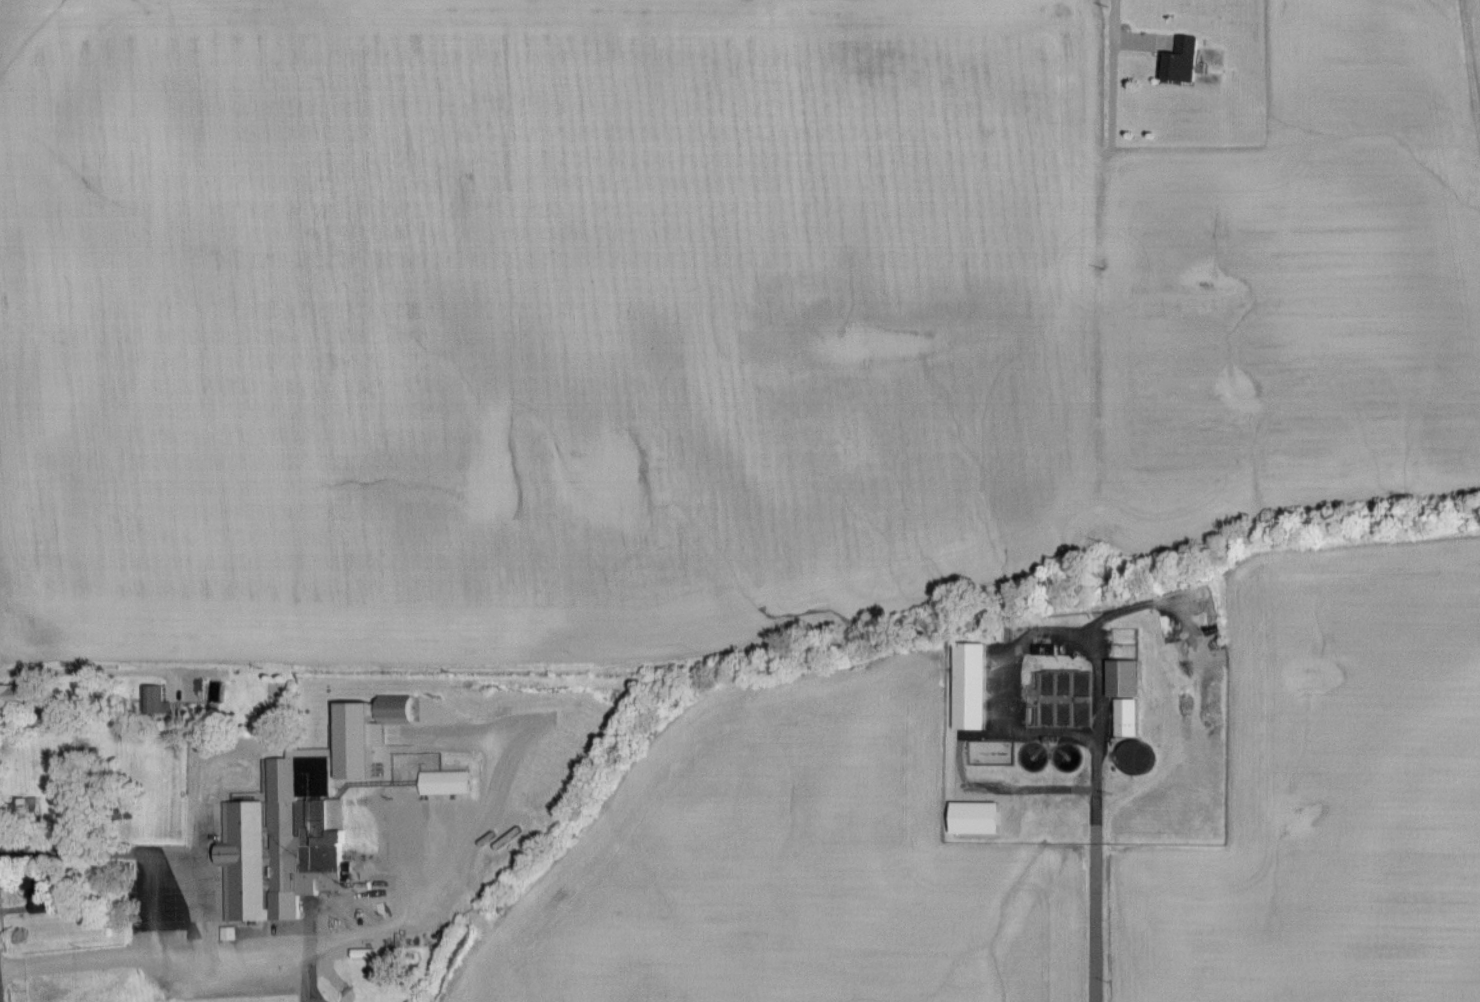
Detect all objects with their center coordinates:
building: (1178, 63)
road: (1115, 70)
road: (105, 672)
building: (966, 688)
building: (9, 697)
building: (1121, 697)
building: (390, 711)
building: (440, 784)
road: (1098, 815)
building: (289, 841)
road: (128, 854)
building: (38, 997)
road: (0, 1001)

